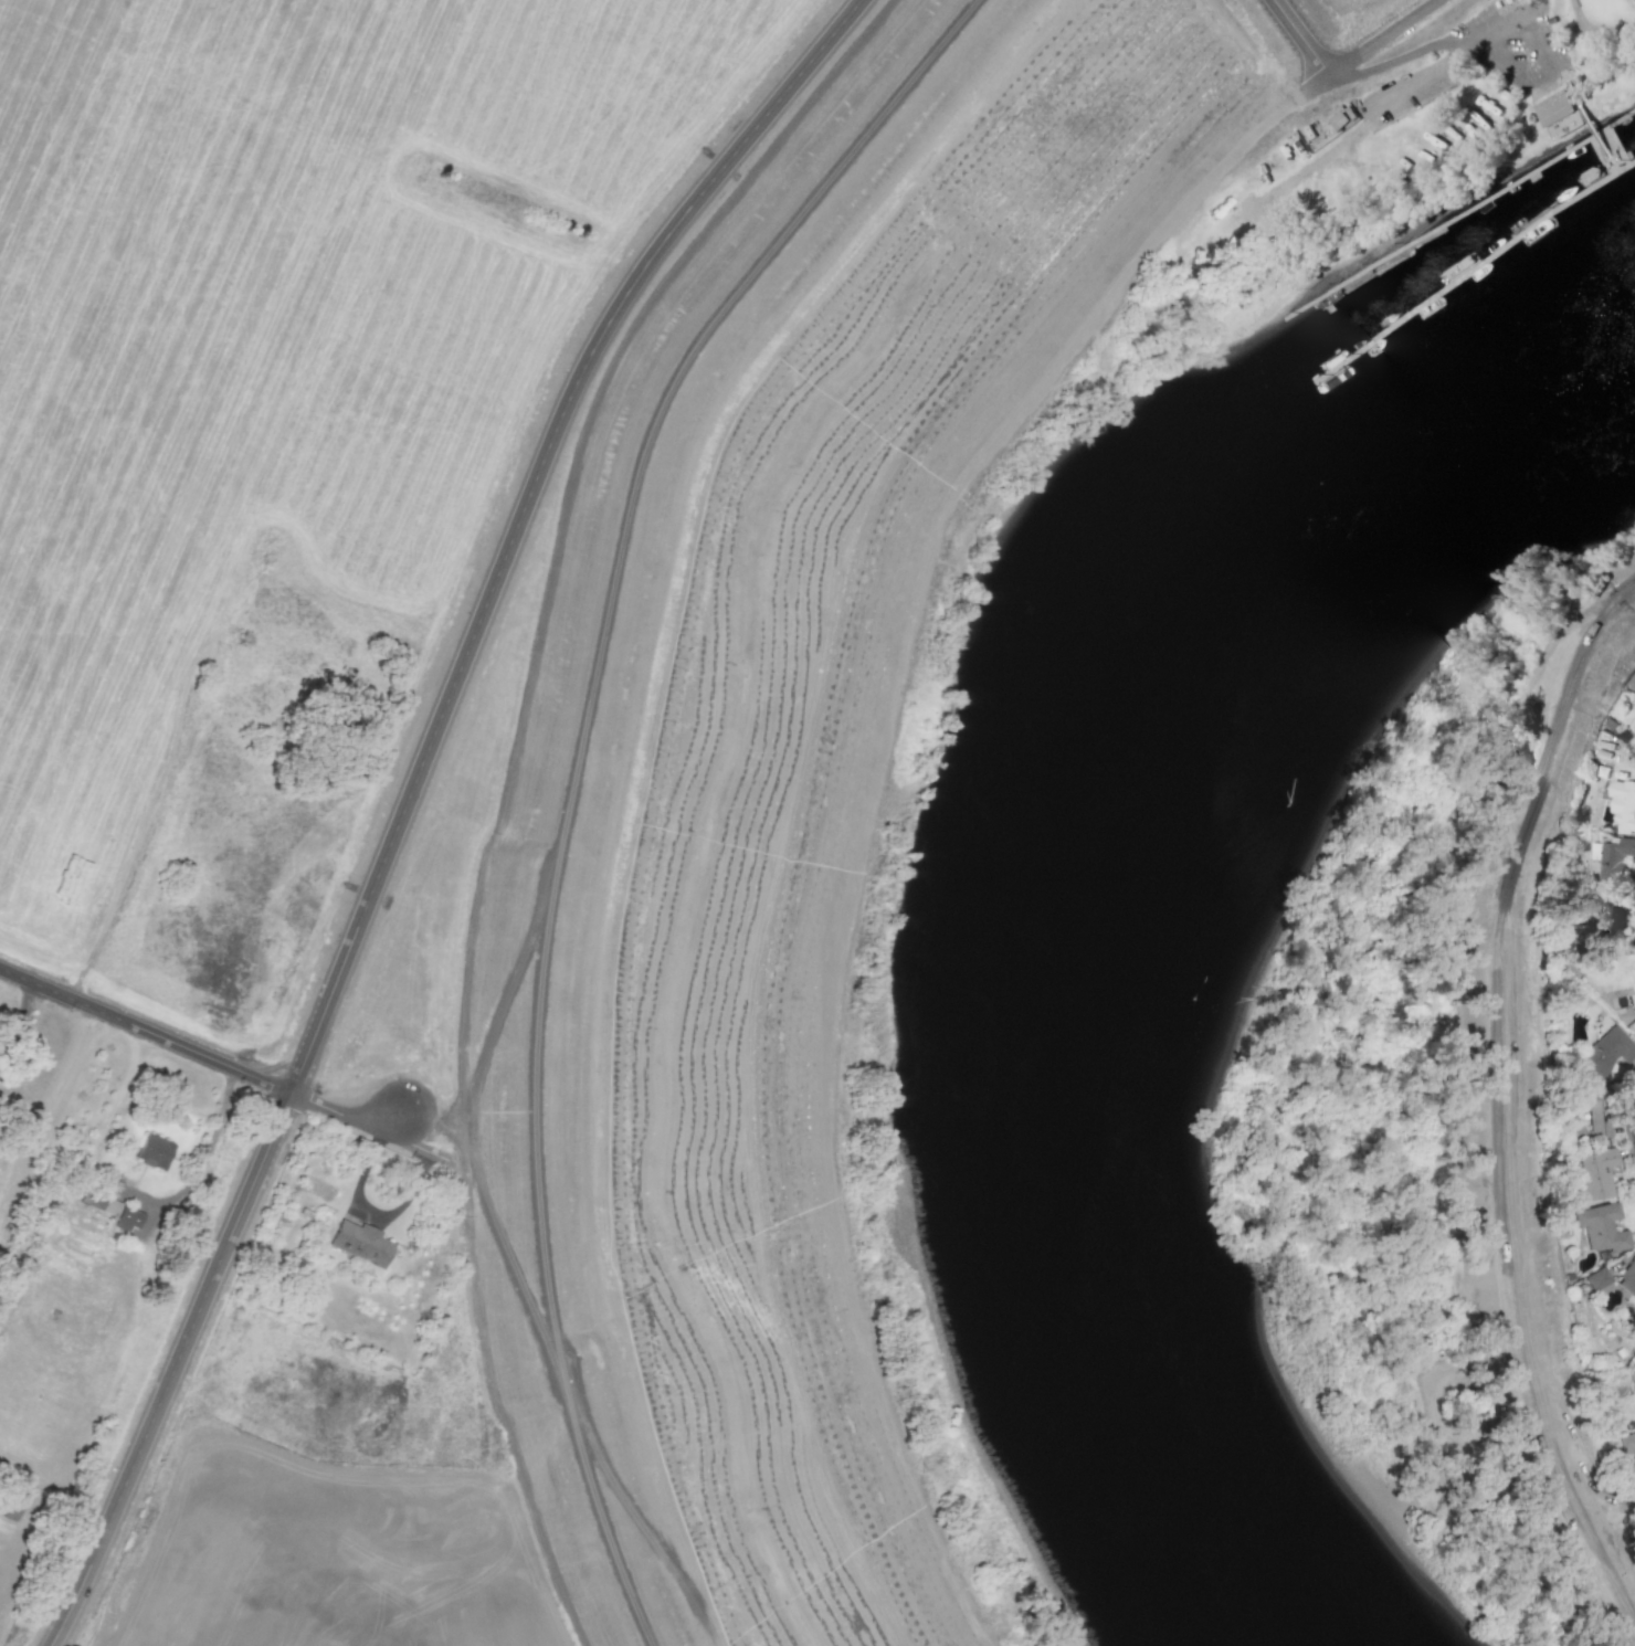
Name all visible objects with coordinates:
road: (1300, 36)
road: (1434, 45)
building: (1554, 107)
road: (1075, 162)
road: (1139, 173)
road: (876, 727)
road: (407, 794)
building: (1623, 805)
building: (1612, 857)
river: (1084, 866)
building: (1633, 973)
road: (20, 1021)
road: (145, 1030)
building: (1605, 1054)
road: (1502, 1099)
building: (1591, 1105)
road: (368, 1125)
building: (154, 1149)
road: (201, 1159)
building: (1593, 1174)
building: (98, 1202)
road: (373, 1210)
building: (128, 1214)
building: (1600, 1227)
building: (362, 1241)
building: (1627, 1277)
building: (1596, 1278)
building: (1632, 1379)
building: (1627, 1446)

